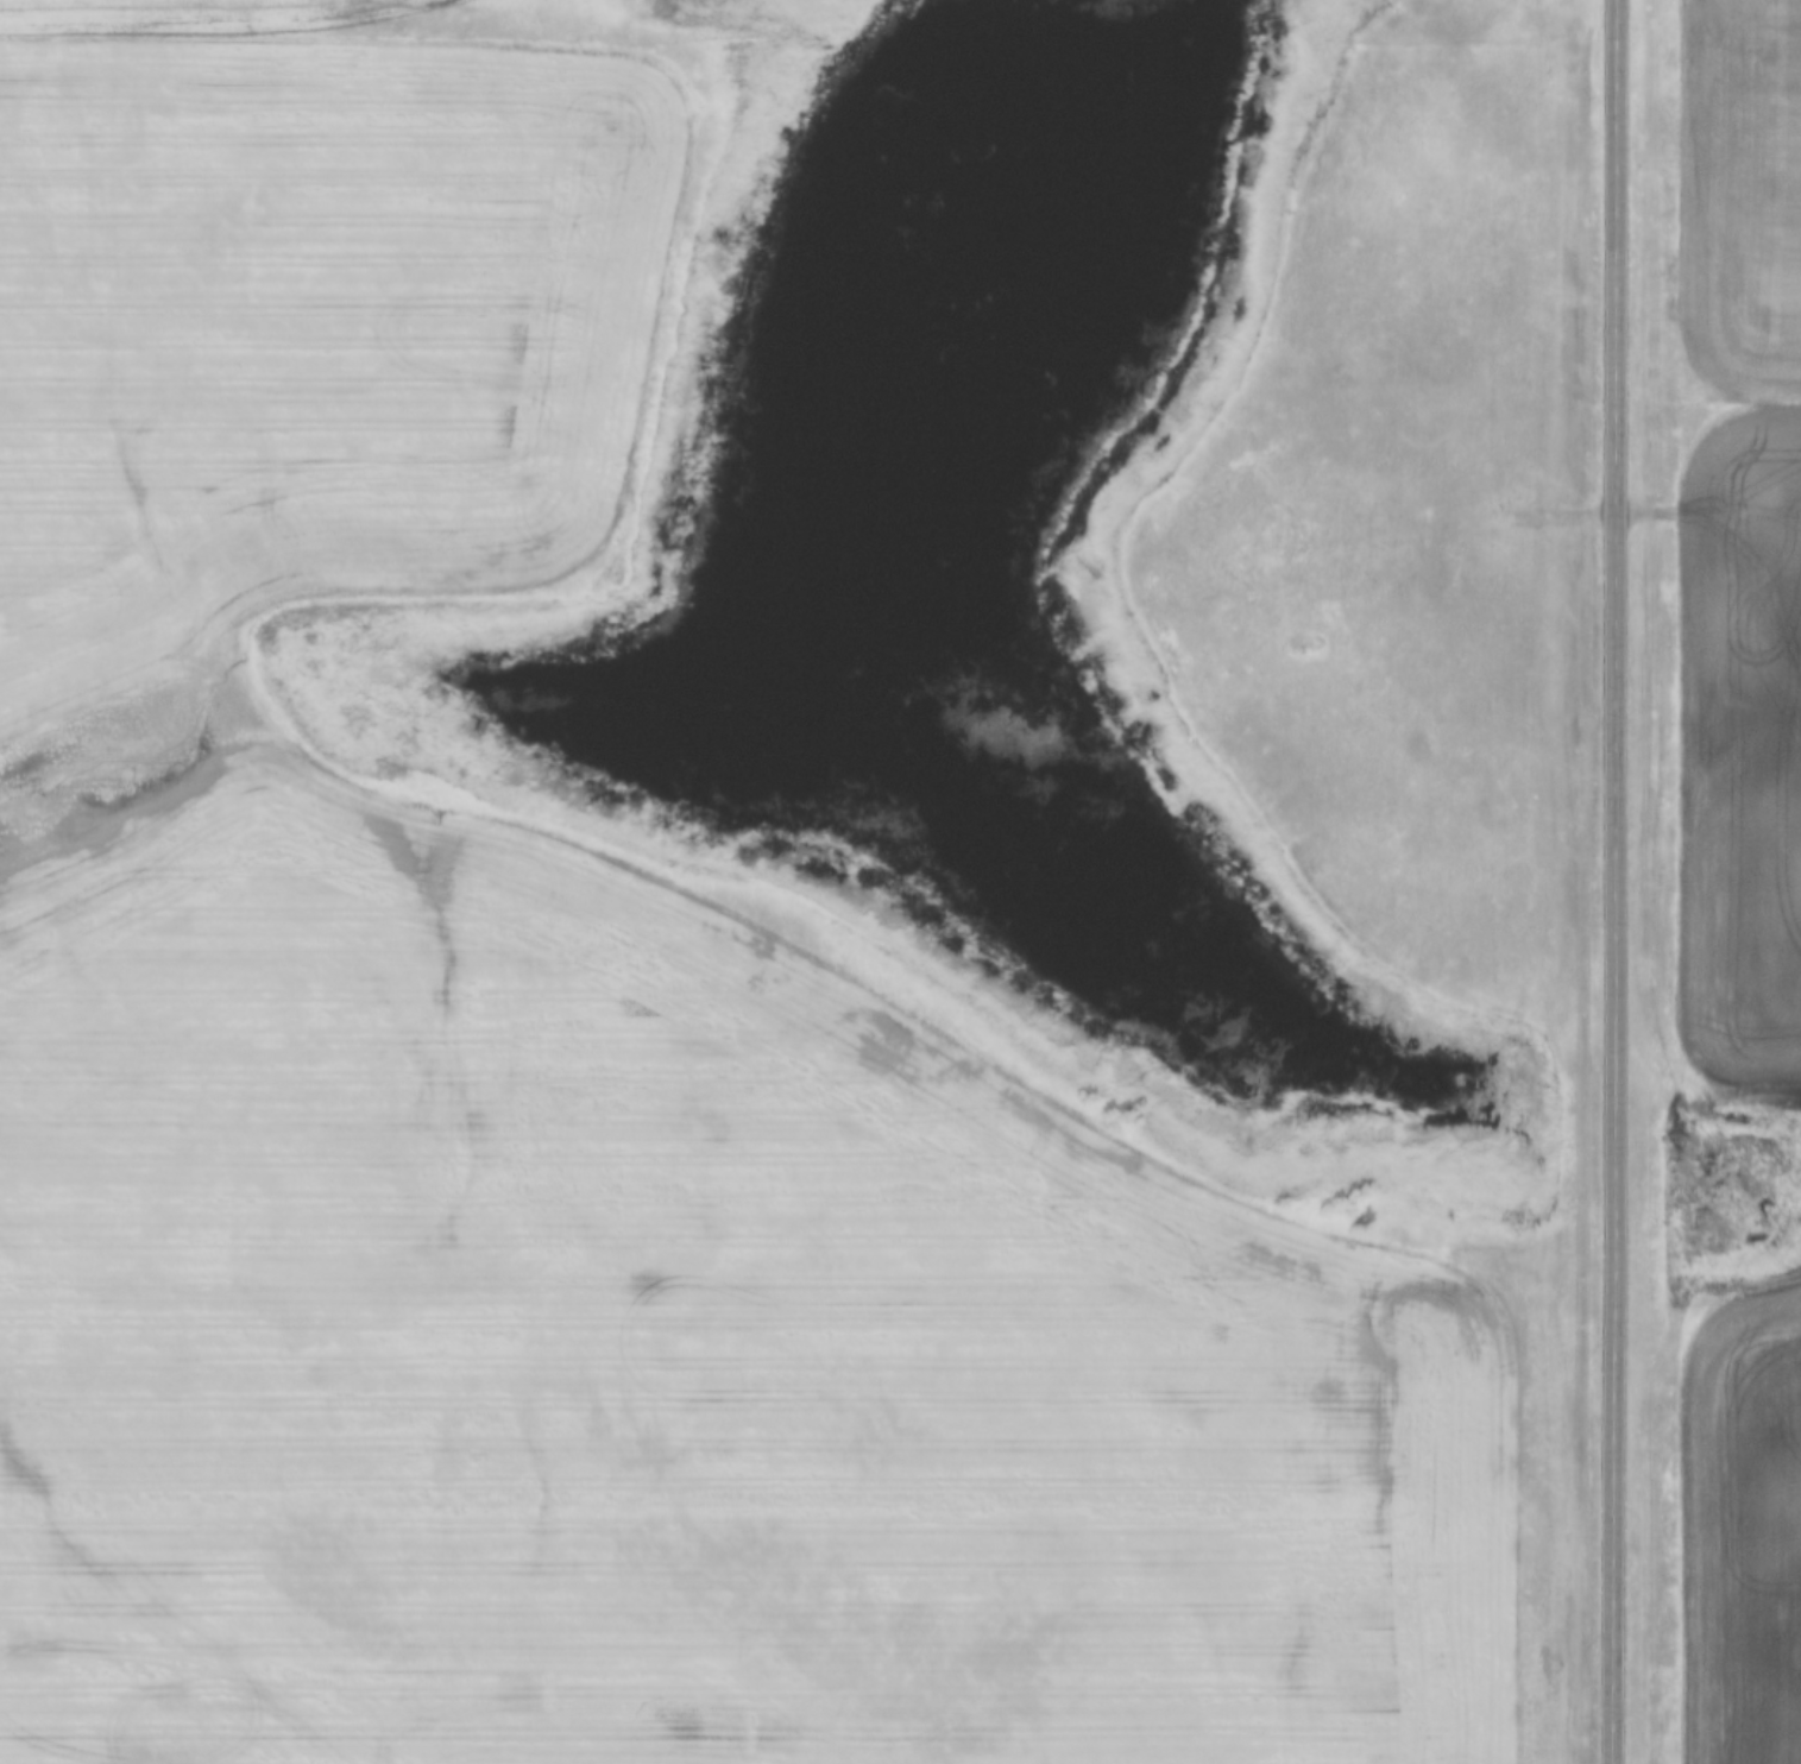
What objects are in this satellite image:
road: (1614, 882)

